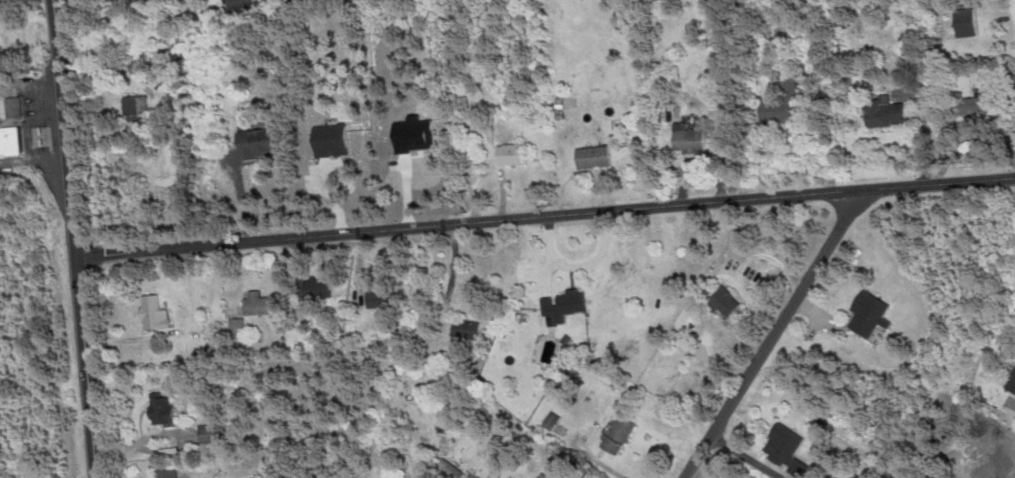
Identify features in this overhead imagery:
building: (244, 3)
building: (963, 21)
building: (137, 104)
building: (963, 104)
building: (16, 106)
building: (781, 109)
building: (891, 113)
building: (418, 133)
building: (12, 139)
building: (335, 139)
building: (694, 140)
building: (261, 142)
building: (513, 153)
building: (597, 155)
road: (547, 219)
road: (77, 238)
building: (322, 288)
building: (382, 297)
building: (727, 300)
building: (259, 302)
building: (566, 306)
building: (157, 312)
building: (872, 312)
building: (239, 324)
building: (470, 331)
road: (776, 335)
building: (1009, 381)
building: (164, 408)
building: (554, 419)
building: (212, 432)
building: (622, 434)
building: (789, 448)
building: (969, 454)
building: (170, 472)
building: (553, 476)
building: (479, 477)

